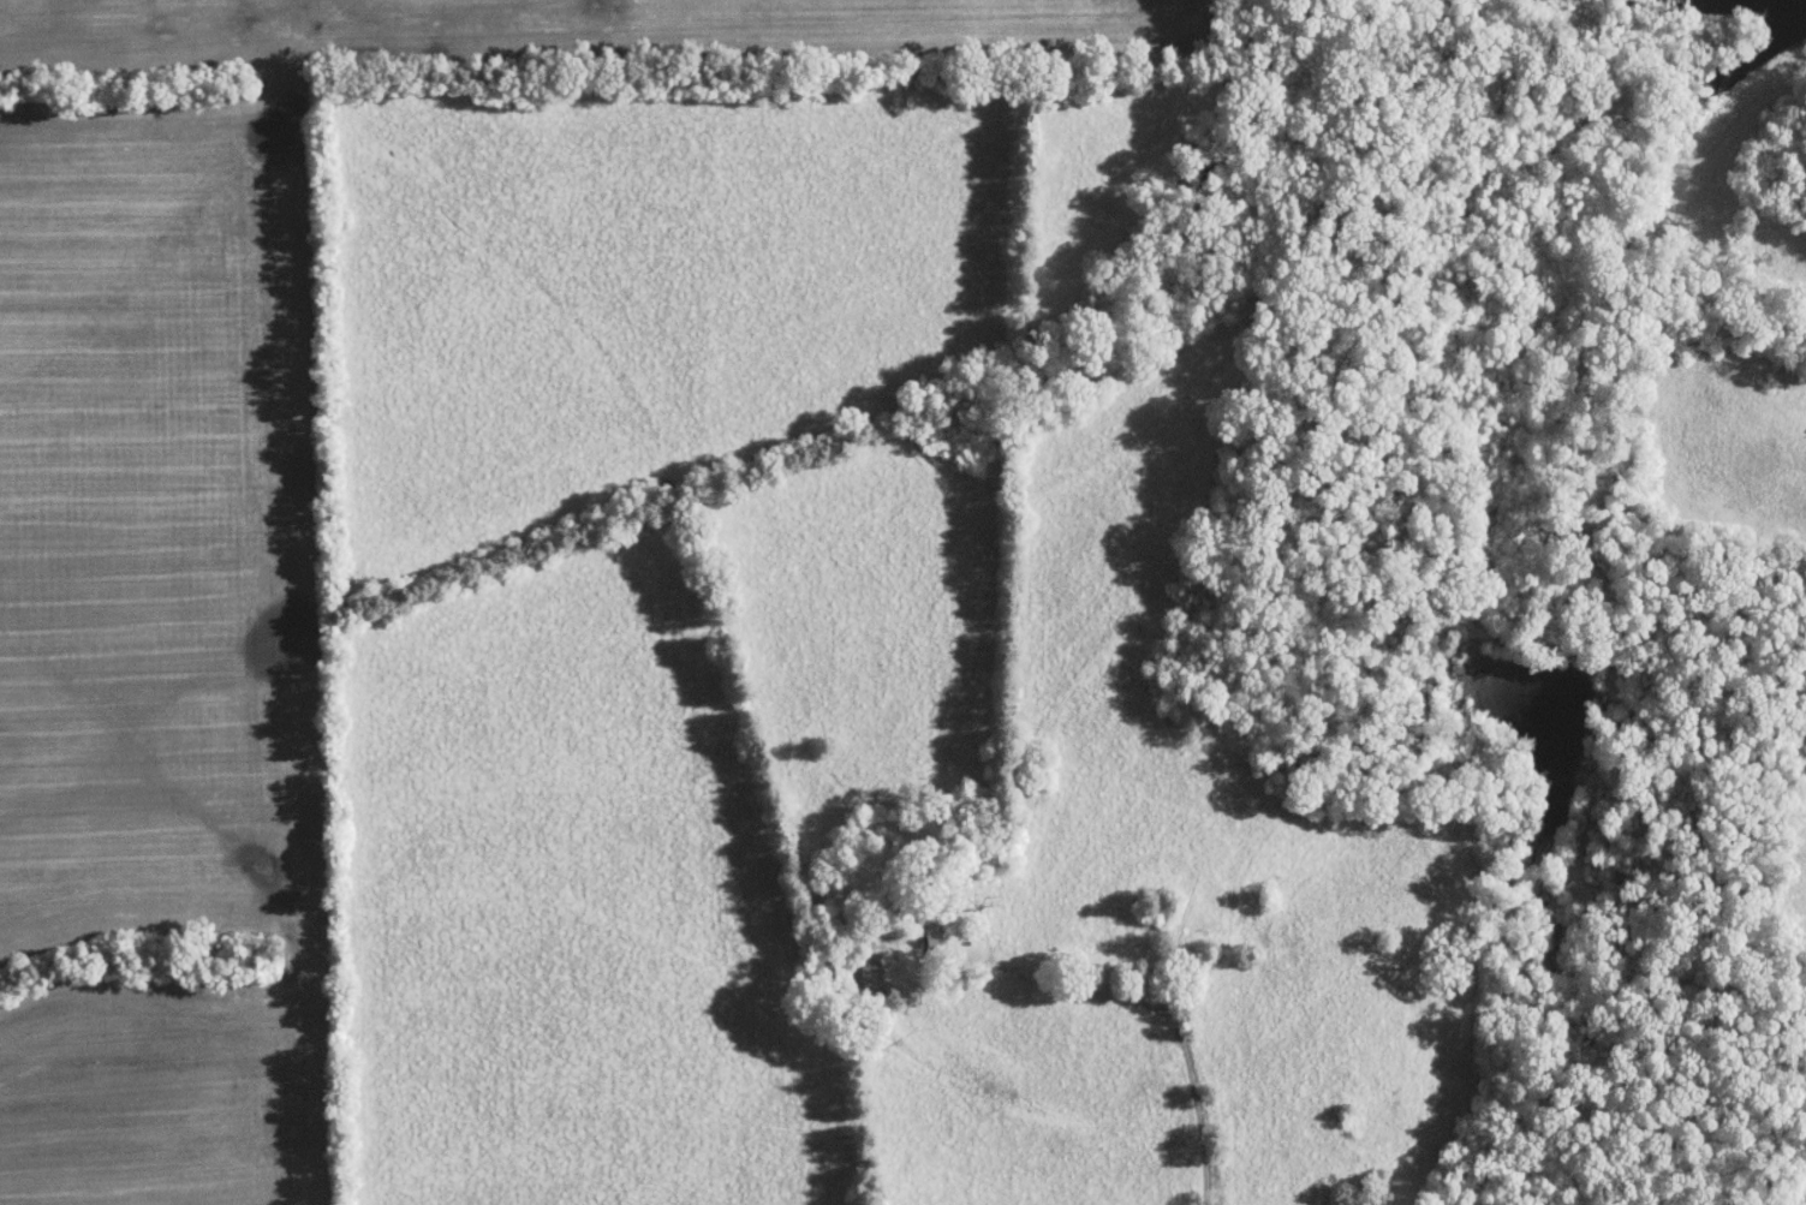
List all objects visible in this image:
building: (859, 964)

